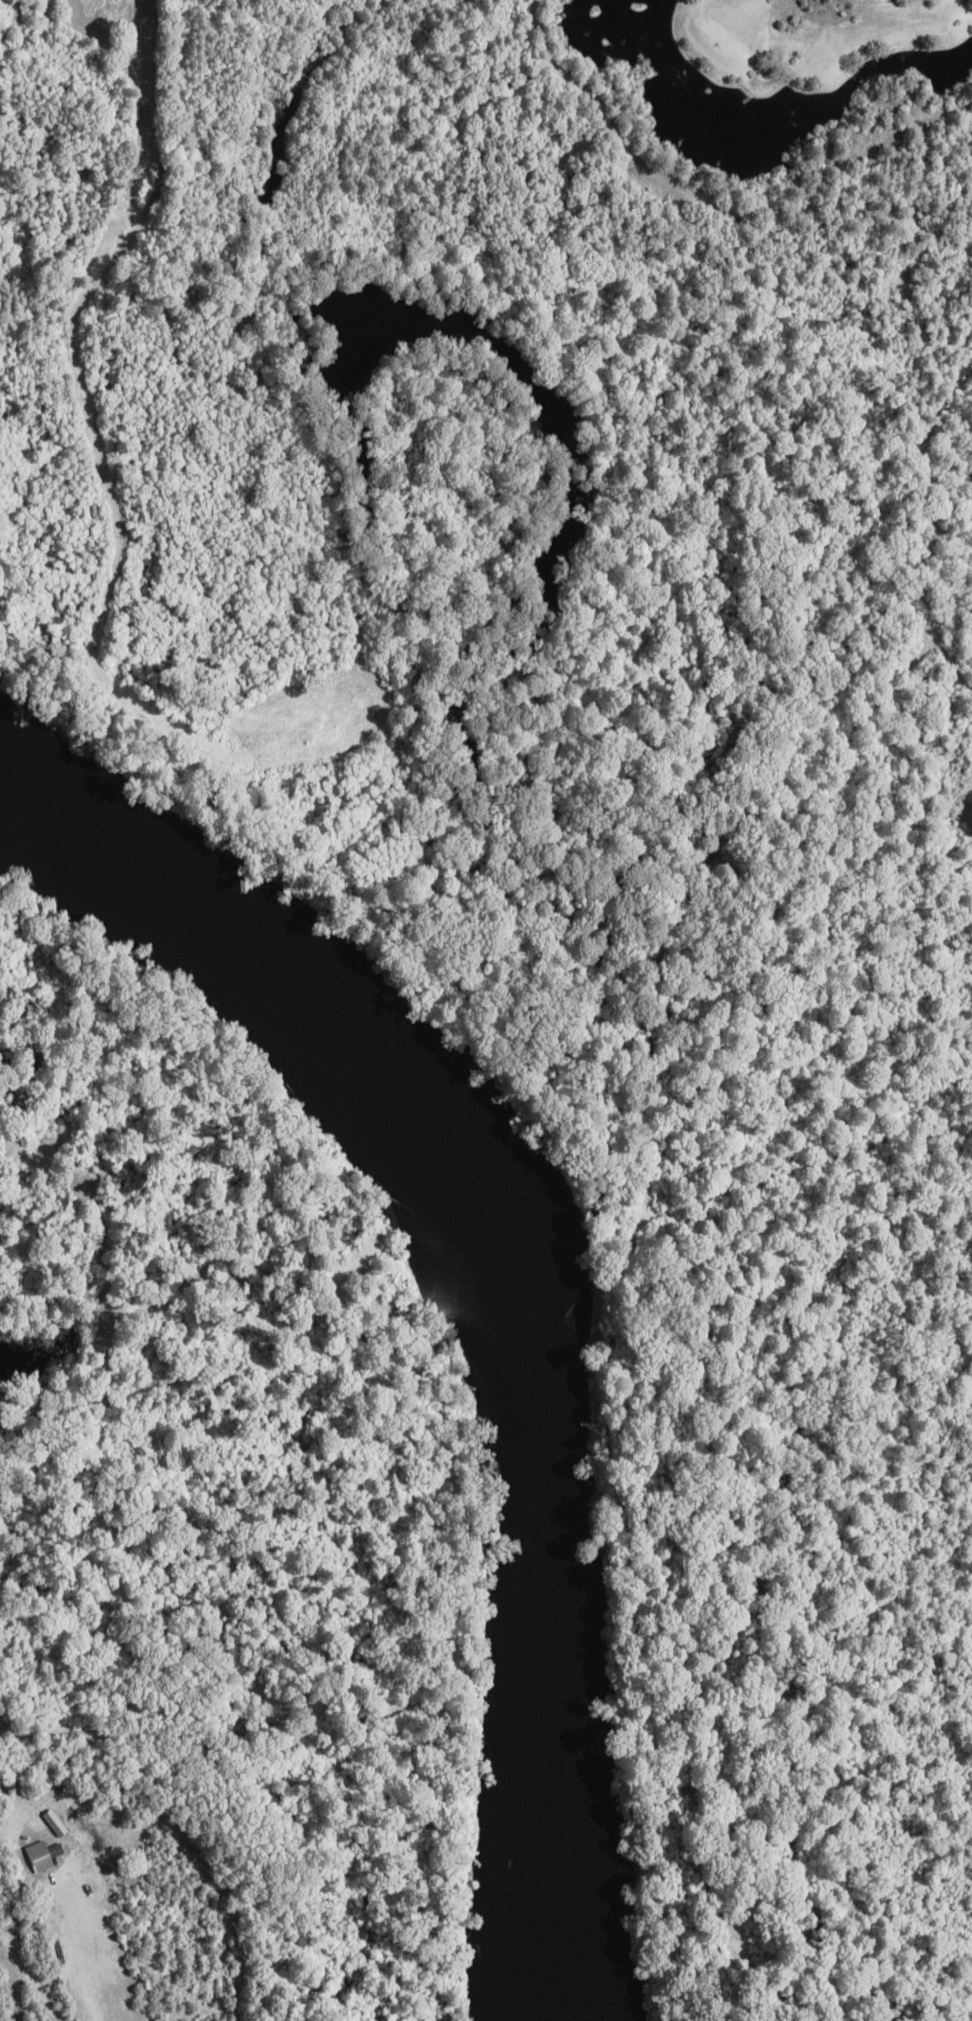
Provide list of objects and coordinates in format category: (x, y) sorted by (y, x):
river: (503, 1290)
building: (58, 1824)
building: (48, 1856)

